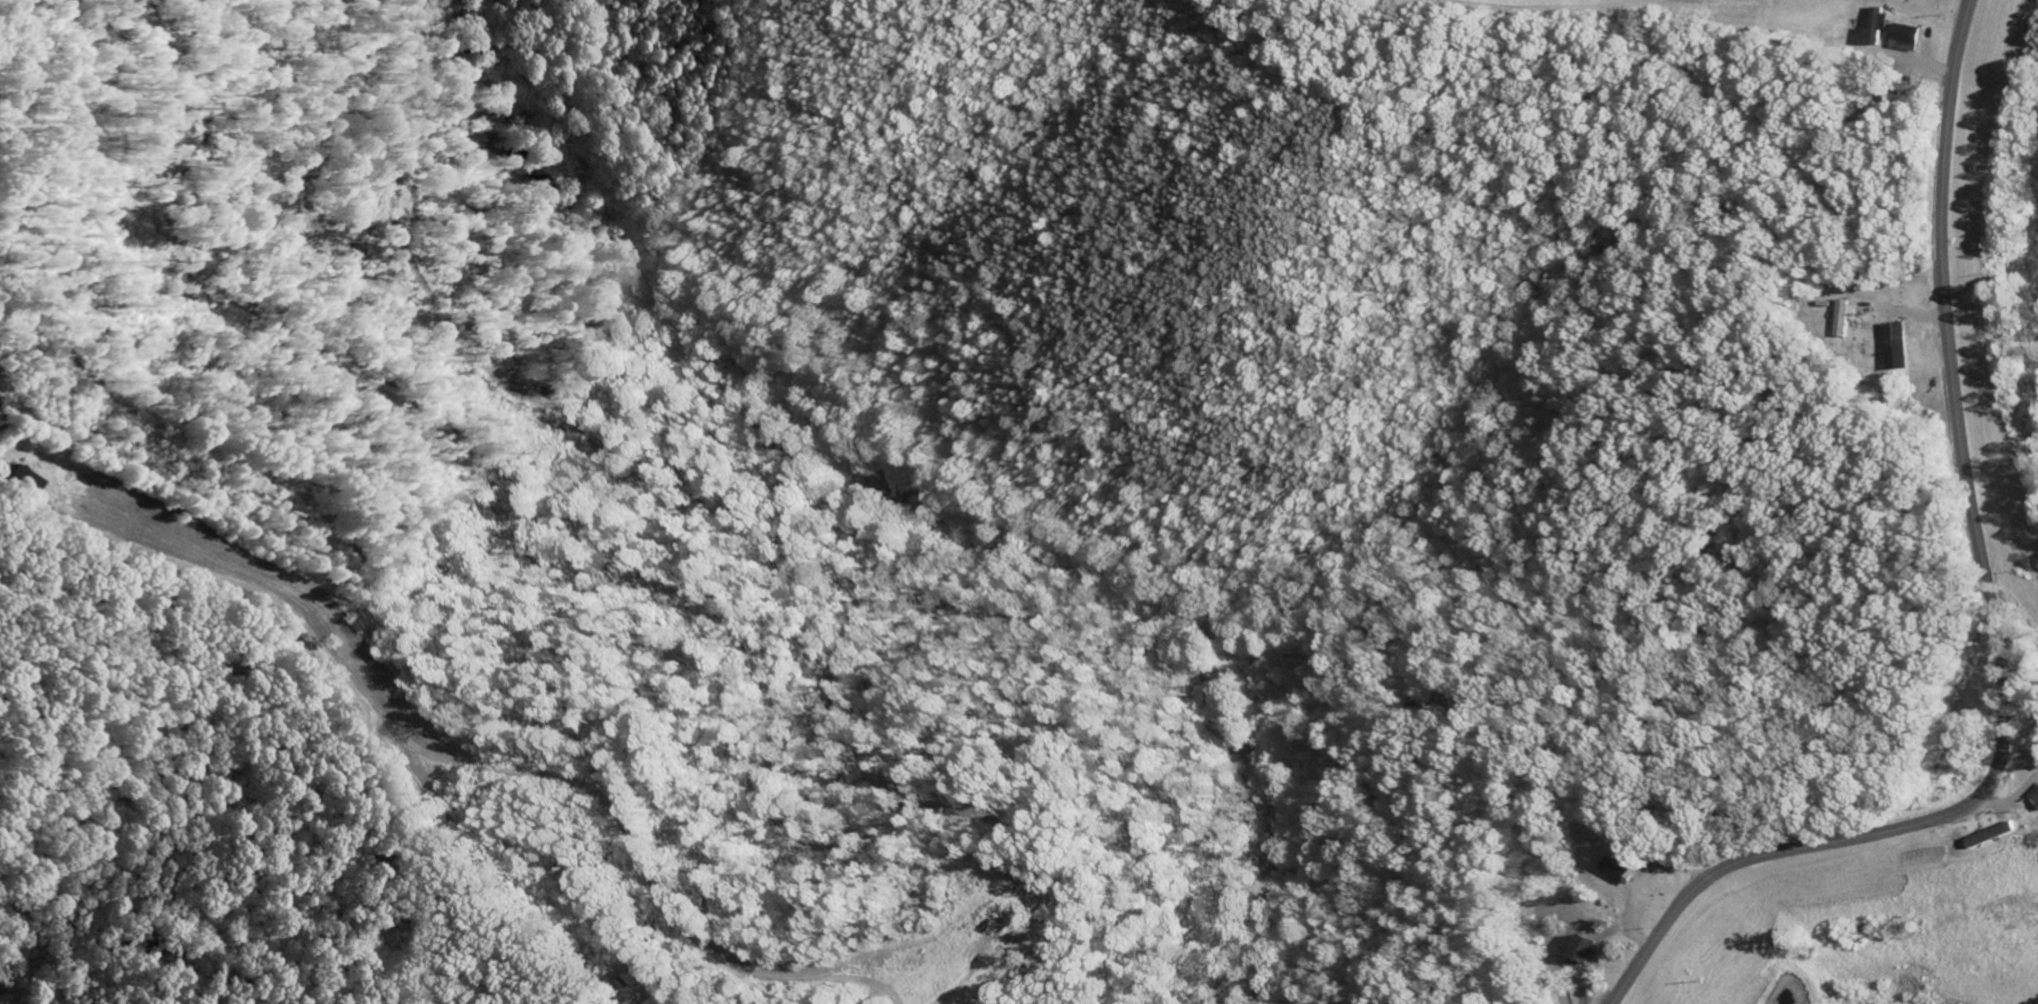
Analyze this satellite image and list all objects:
building: (1874, 28)
building: (1905, 39)
building: (1899, 348)
road: (1995, 621)
building: (1580, 953)

